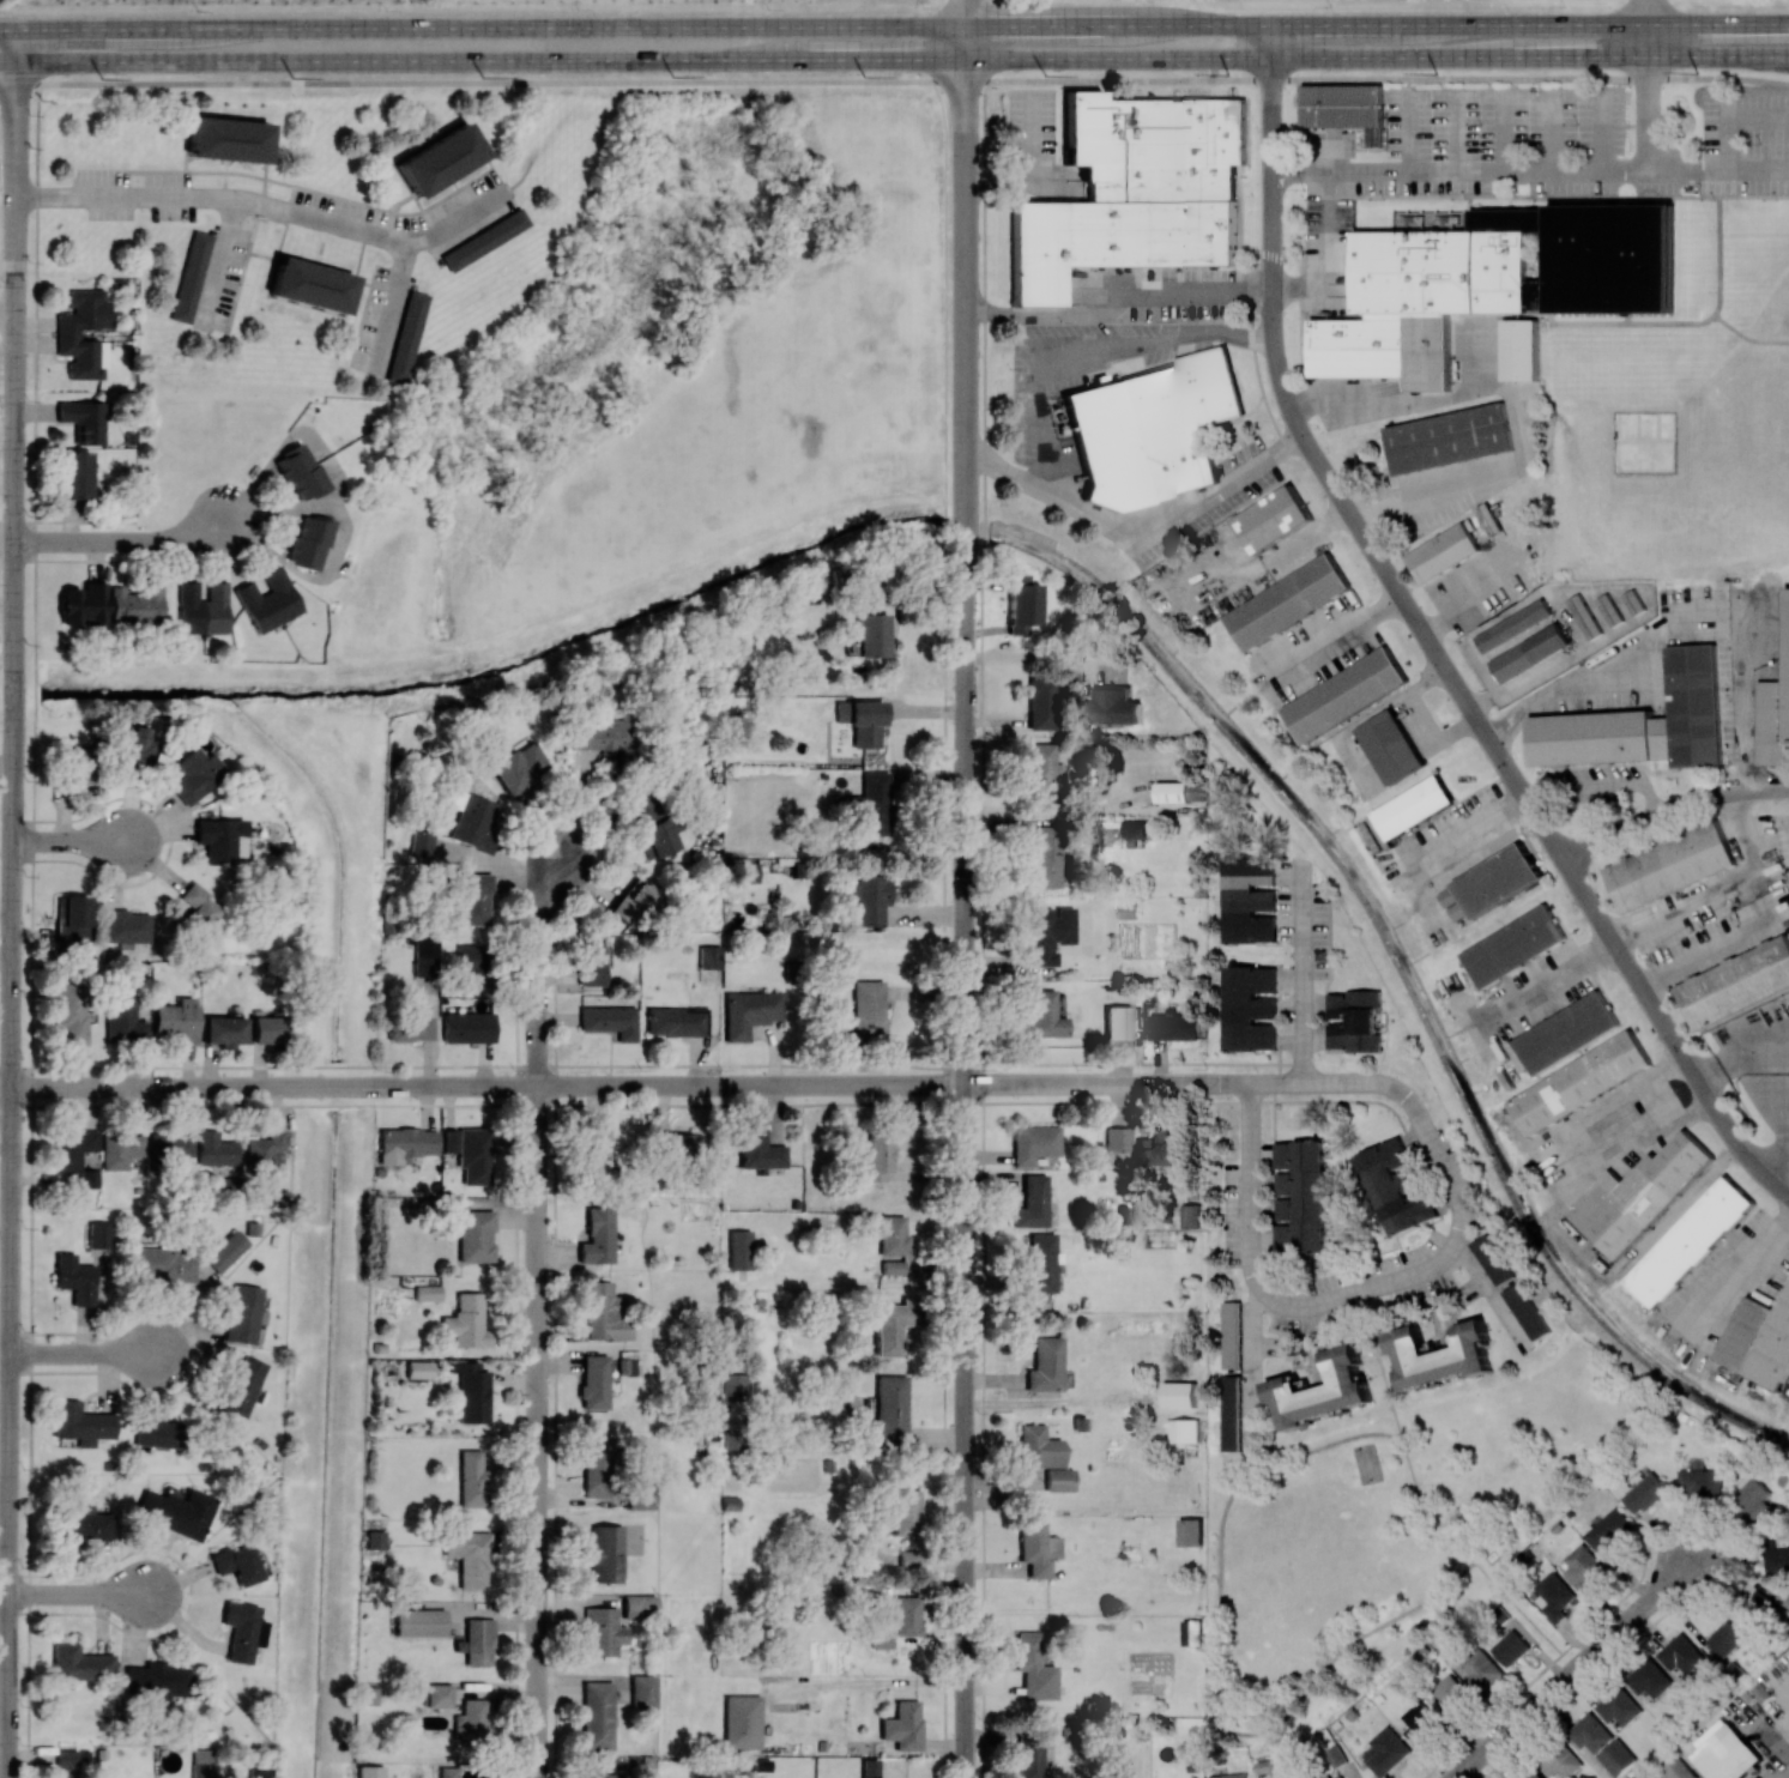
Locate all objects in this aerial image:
road: (1648, 12)
road: (965, 13)
road: (1377, 25)
road: (489, 29)
road: (6, 31)
road: (1377, 58)
road: (489, 60)
road: (6, 62)
power tower: (1436, 73)
power tower: (1697, 73)
power tower: (1045, 74)
power tower: (1227, 74)
power tower: (672, 75)
power tower: (864, 75)
power tower: (292, 77)
power tower: (483, 77)
power tower: (102, 78)
road: (1118, 79)
road: (1530, 79)
road: (482, 80)
building: (1344, 108)
road: (1740, 126)
building: (226, 139)
building: (439, 159)
road: (1533, 171)
road: (1690, 171)
road: (1760, 173)
building: (1134, 192)
road: (268, 205)
building: (484, 240)
road: (1324, 250)
building: (191, 276)
building: (1489, 283)
building: (309, 285)
road: (393, 307)
road: (1119, 309)
road: (7, 316)
building: (66, 334)
road: (1207, 335)
building: (406, 337)
building: (1521, 351)
road: (1509, 400)
road: (1033, 412)
building: (83, 419)
building: (1149, 429)
building: (1450, 436)
building: (300, 472)
building: (74, 474)
building: (1277, 516)
road: (1173, 518)
building: (1491, 520)
building: (308, 540)
road: (123, 542)
road: (7, 543)
building: (1443, 551)
road: (966, 555)
building: (268, 600)
building: (1291, 600)
building: (1636, 600)
building: (83, 603)
building: (1021, 604)
building: (135, 605)
building: (201, 607)
building: (1610, 609)
building: (1584, 615)
building: (1513, 624)
road: (1680, 629)
building: (872, 635)
road: (1341, 635)
road: (1430, 643)
building: (1529, 652)
road: (1031, 654)
building: (1347, 694)
building: (1040, 702)
building: (1697, 703)
building: (1113, 706)
building: (1788, 718)
building: (605, 736)
building: (1591, 736)
building: (1390, 745)
building: (133, 748)
building: (77, 764)
building: (518, 767)
building: (1042, 770)
building: (194, 775)
building: (1180, 792)
building: (869, 805)
building: (1415, 806)
road: (1672, 811)
building: (476, 822)
building: (1136, 828)
building: (659, 836)
building: (219, 840)
road: (78, 841)
building: (421, 843)
building: (1045, 857)
building: (1669, 865)
building: (745, 872)
building: (1499, 879)
building: (868, 897)
building: (473, 899)
building: (1249, 900)
building: (634, 902)
road: (12, 903)
building: (201, 911)
building: (75, 918)
building: (126, 926)
building: (1048, 932)
building: (1515, 947)
road: (1709, 955)
building: (709, 956)
building: (424, 957)
building: (470, 963)
building: (592, 966)
road: (538, 969)
road: (1304, 976)
building: (1736, 982)
building: (1249, 1008)
building: (868, 1011)
building: (71, 1012)
building: (750, 1012)
building: (1044, 1015)
building: (177, 1018)
building: (123, 1020)
building: (610, 1020)
building: (677, 1021)
building: (1119, 1021)
building: (1353, 1021)
building: (409, 1023)
building: (467, 1027)
building: (1173, 1027)
building: (267, 1028)
building: (223, 1030)
building: (1567, 1033)
building: (1582, 1083)
road: (1107, 1084)
road: (1371, 1084)
road: (482, 1087)
building: (1117, 1138)
building: (447, 1141)
building: (406, 1142)
building: (676, 1142)
building: (1033, 1143)
building: (120, 1149)
building: (214, 1149)
building: (593, 1149)
building: (73, 1150)
building: (264, 1153)
building: (1161, 1154)
building: (473, 1155)
building: (762, 1155)
building: (878, 1157)
building: (87, 1179)
building: (1396, 1186)
road: (1251, 1192)
building: (1639, 1195)
building: (1299, 1197)
building: (1031, 1203)
building: (1190, 1215)
building: (472, 1234)
building: (892, 1234)
building: (98, 1235)
building: (597, 1236)
building: (1691, 1241)
building: (739, 1250)
building: (225, 1251)
building: (1494, 1258)
building: (1329, 1260)
building: (1040, 1262)
building: (161, 1264)
building: (892, 1266)
road: (1740, 1271)
building: (73, 1278)
road: (1403, 1278)
building: (427, 1293)
building: (1527, 1311)
building: (242, 1313)
building: (604, 1313)
building: (466, 1322)
building: (892, 1326)
building: (1231, 1335)
building: (1760, 1343)
road: (91, 1353)
building: (1440, 1355)
road: (1250, 1363)
building: (1044, 1365)
building: (418, 1369)
building: (593, 1381)
building: (706, 1383)
building: (735, 1384)
building: (242, 1386)
building: (1322, 1390)
building: (470, 1391)
building: (1179, 1395)
building: (889, 1410)
building: (1231, 1413)
building: (80, 1423)
road: (963, 1431)
building: (1192, 1431)
road: (538, 1432)
building: (155, 1434)
building: (1044, 1457)
building: (597, 1465)
building: (472, 1478)
building: (1699, 1483)
building: (640, 1494)
building: (1644, 1494)
road: (5, 1498)
building: (1752, 1499)
building: (176, 1512)
building: (906, 1512)
building: (79, 1526)
building: (1191, 1532)
building: (1610, 1534)
building: (374, 1538)
building: (1036, 1548)
building: (604, 1553)
building: (469, 1556)
building: (1775, 1558)
building: (909, 1560)
building: (235, 1564)
building: (1584, 1568)
road: (81, 1593)
building: (1554, 1596)
building: (1783, 1596)
building: (1758, 1609)
building: (905, 1617)
building: (419, 1622)
building: (241, 1629)
building: (1724, 1638)
building: (478, 1641)
building: (1510, 1647)
building: (1680, 1655)
building: (79, 1663)
building: (1033, 1668)
road: (1572, 1669)
building: (1480, 1670)
building: (1649, 1679)
building: (156, 1681)
road: (864, 1682)
building: (642, 1692)
building: (367, 1695)
building: (436, 1695)
building: (1450, 1695)
building: (1618, 1706)
building: (597, 1716)
building: (470, 1719)
building: (742, 1720)
building: (1419, 1722)
building: (902, 1725)
building: (1589, 1732)
building: (1386, 1750)
building: (1727, 1755)
building: (1029, 1756)
building: (1616, 1758)
building: (66, 1761)
building: (1559, 1761)
building: (201, 1762)
building: (869, 1768)
building: (1678, 1770)
building: (368, 1771)
building: (258, 1772)
building: (447, 1772)
building: (1528, 1773)
building: (615, 1776)
building: (1231, 1776)
building: (1341, 1777)

